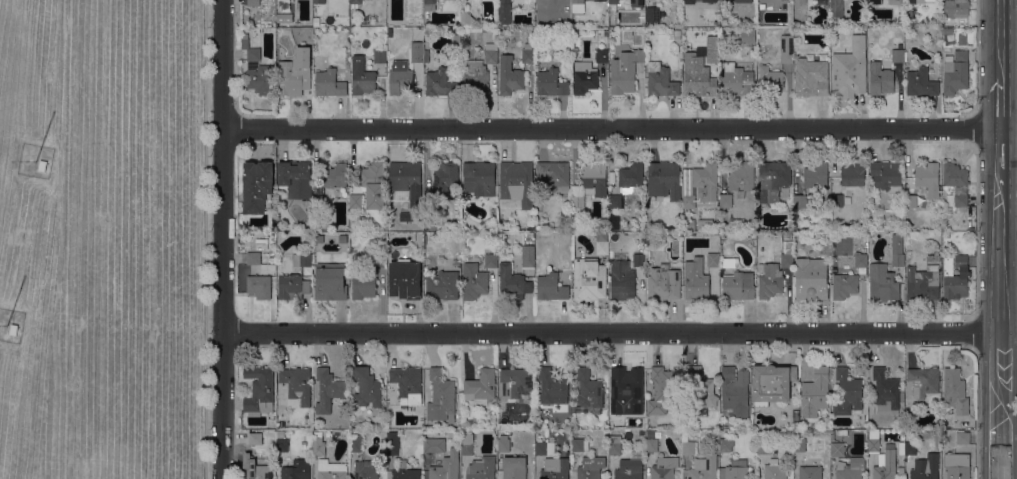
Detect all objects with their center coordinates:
building: (319, 1)
building: (356, 1)
building: (600, 1)
building: (688, 1)
building: (708, 1)
building: (726, 1)
building: (799, 1)
building: (874, 1)
building: (911, 1)
building: (252, 2)
building: (895, 2)
building: (615, 4)
building: (637, 4)
building: (285, 5)
building: (430, 5)
building: (578, 6)
building: (837, 8)
building: (956, 8)
building: (504, 12)
building: (653, 14)
building: (284, 17)
building: (467, 19)
building: (560, 19)
building: (316, 21)
building: (900, 21)
building: (893, 23)
building: (486, 29)
building: (947, 30)
building: (677, 32)
building: (748, 36)
building: (457, 39)
road: (1003, 43)
building: (416, 44)
building: (250, 48)
building: (765, 48)
building: (787, 49)
building: (947, 49)
building: (491, 53)
building: (713, 54)
building: (426, 55)
building: (467, 55)
building: (528, 55)
building: (898, 55)
building: (379, 56)
building: (602, 56)
building: (906, 56)
building: (850, 70)
building: (625, 71)
building: (955, 72)
building: (295, 73)
building: (399, 75)
building: (696, 75)
building: (510, 76)
building: (362, 77)
building: (475, 77)
building: (584, 77)
building: (811, 77)
building: (260, 79)
building: (880, 79)
building: (661, 80)
building: (735, 80)
building: (769, 80)
building: (329, 83)
building: (440, 83)
building: (551, 83)
building: (921, 83)
road: (604, 96)
road: (1002, 109)
road: (340, 112)
road: (451, 112)
road: (619, 130)
road: (1002, 151)
building: (40, 167)
building: (853, 174)
building: (335, 175)
building: (555, 175)
building: (816, 175)
building: (955, 175)
building: (742, 176)
building: (886, 176)
building: (296, 178)
building: (445, 178)
building: (479, 178)
building: (664, 179)
building: (772, 179)
building: (627, 182)
building: (925, 183)
building: (373, 184)
building: (590, 184)
building: (699, 184)
building: (408, 186)
building: (518, 186)
building: (258, 187)
building: (614, 190)
building: (837, 200)
building: (957, 200)
building: (356, 201)
building: (430, 201)
building: (726, 201)
building: (803, 201)
building: (319, 202)
building: (613, 221)
building: (901, 221)
building: (705, 223)
building: (689, 225)
building: (834, 227)
building: (530, 234)
building: (753, 234)
building: (946, 235)
building: (863, 236)
road: (205, 239)
road: (223, 239)
building: (319, 239)
building: (343, 239)
building: (602, 243)
building: (711, 243)
building: (641, 250)
building: (897, 250)
road: (1001, 251)
building: (787, 254)
building: (528, 256)
building: (861, 257)
building: (937, 257)
building: (253, 258)
road: (235, 259)
building: (303, 259)
building: (638, 259)
building: (380, 260)
building: (713, 260)
building: (491, 261)
building: (961, 261)
building: (457, 262)
building: (729, 263)
building: (405, 279)
building: (589, 279)
building: (696, 279)
building: (811, 279)
building: (622, 280)
building: (331, 281)
building: (474, 281)
building: (770, 281)
building: (954, 281)
building: (923, 282)
building: (513, 283)
building: (664, 283)
building: (883, 283)
building: (443, 285)
building: (738, 285)
building: (259, 286)
building: (292, 286)
building: (364, 286)
building: (844, 286)
building: (551, 287)
building: (11, 331)
road: (612, 331)
building: (946, 352)
road: (1001, 352)
building: (922, 382)
building: (771, 383)
building: (516, 384)
building: (407, 385)
building: (666, 385)
building: (297, 386)
building: (482, 386)
building: (552, 387)
building: (700, 388)
building: (368, 389)
building: (328, 390)
building: (626, 390)
building: (260, 391)
building: (955, 391)
building: (734, 392)
building: (885, 392)
building: (589, 393)
building: (815, 393)
building: (848, 394)
building: (441, 397)
building: (469, 423)
building: (429, 426)
road: (1002, 426)
building: (255, 438)
building: (962, 438)
building: (873, 440)
building: (355, 443)
building: (393, 443)
building: (504, 443)
building: (318, 444)
building: (467, 444)
building: (726, 444)
building: (281, 445)
building: (434, 445)
building: (579, 445)
building: (615, 445)
building: (650, 445)
building: (799, 445)
building: (763, 446)
road: (1009, 447)
building: (544, 448)
building: (688, 448)
building: (910, 448)
building: (837, 449)
building: (885, 463)
building: (957, 466)
building: (590, 467)
building: (925, 467)
building: (255, 468)
building: (482, 468)
building: (514, 468)
building: (555, 468)
building: (664, 468)
building: (704, 468)
building: (440, 469)
building: (629, 469)
building: (850, 469)
building: (296, 470)
building: (331, 470)
building: (366, 470)
building: (735, 470)
building: (775, 470)
building: (405, 471)
building: (901, 471)
building: (810, 472)

